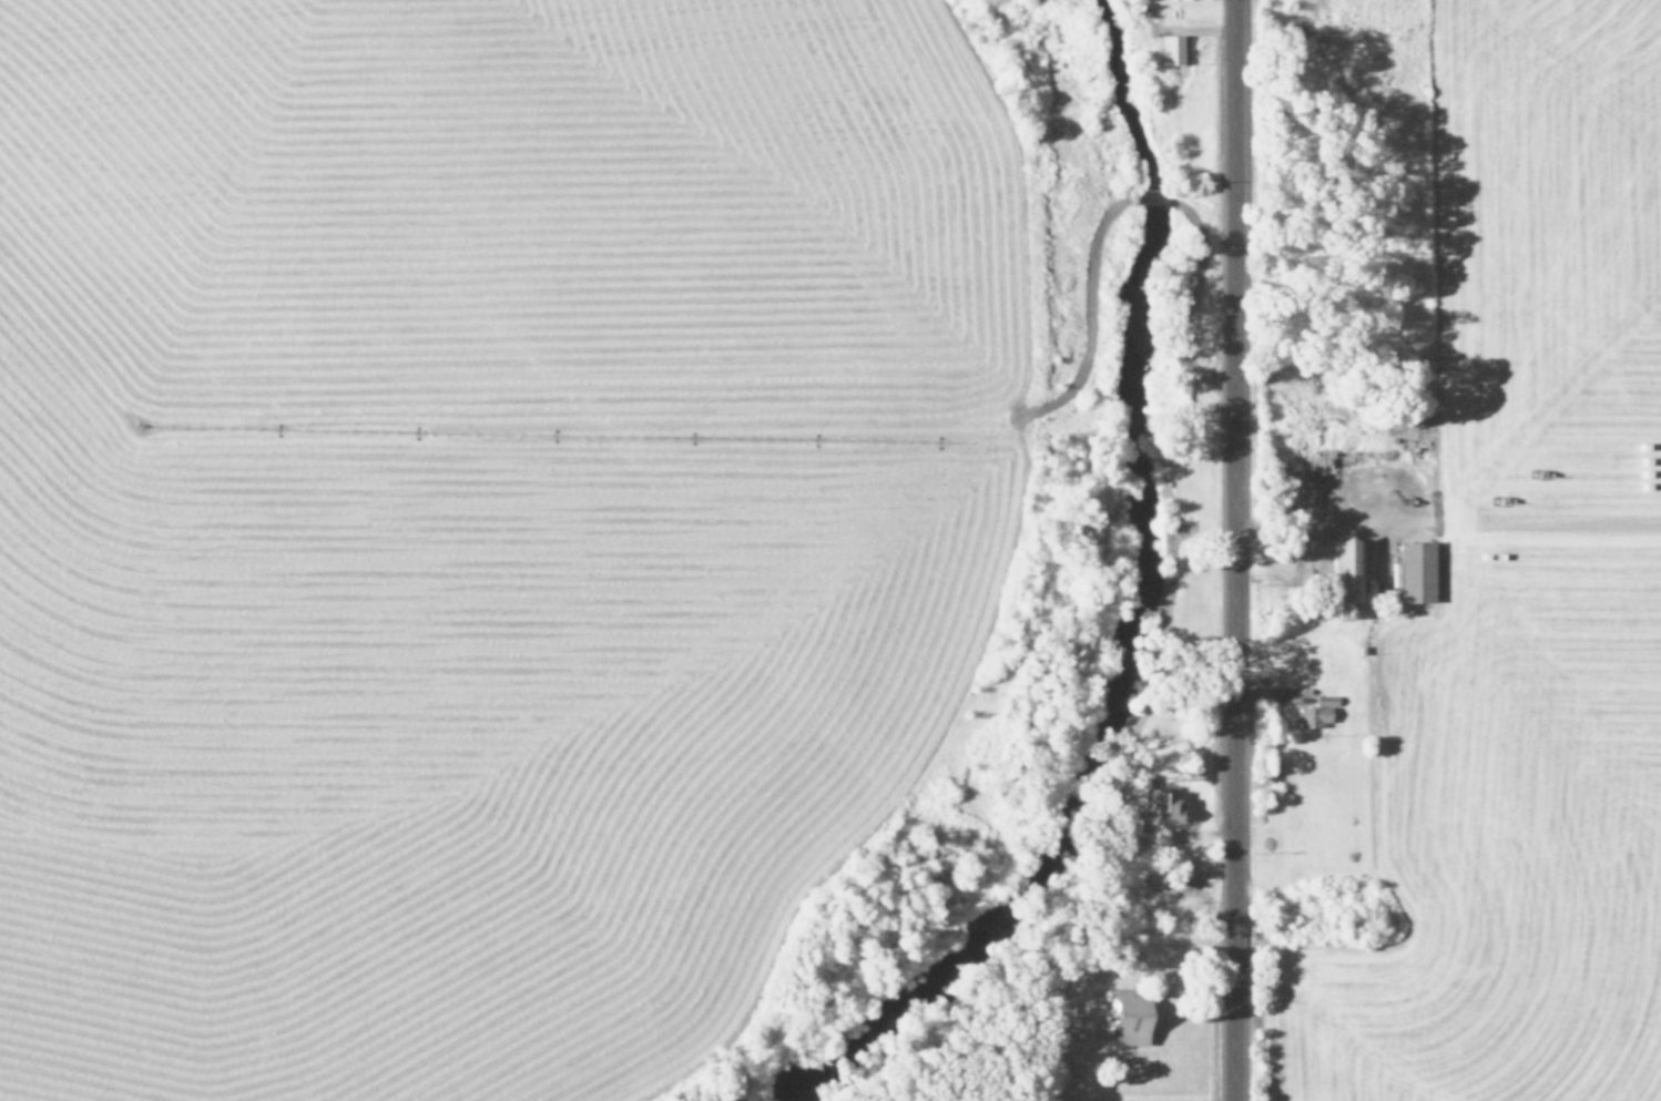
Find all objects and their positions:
building: (1169, 50)
crop: (471, 518)
road: (1224, 550)
building: (1342, 569)
building: (1414, 571)
building: (1314, 712)
building: (1154, 802)
building: (1123, 1017)

